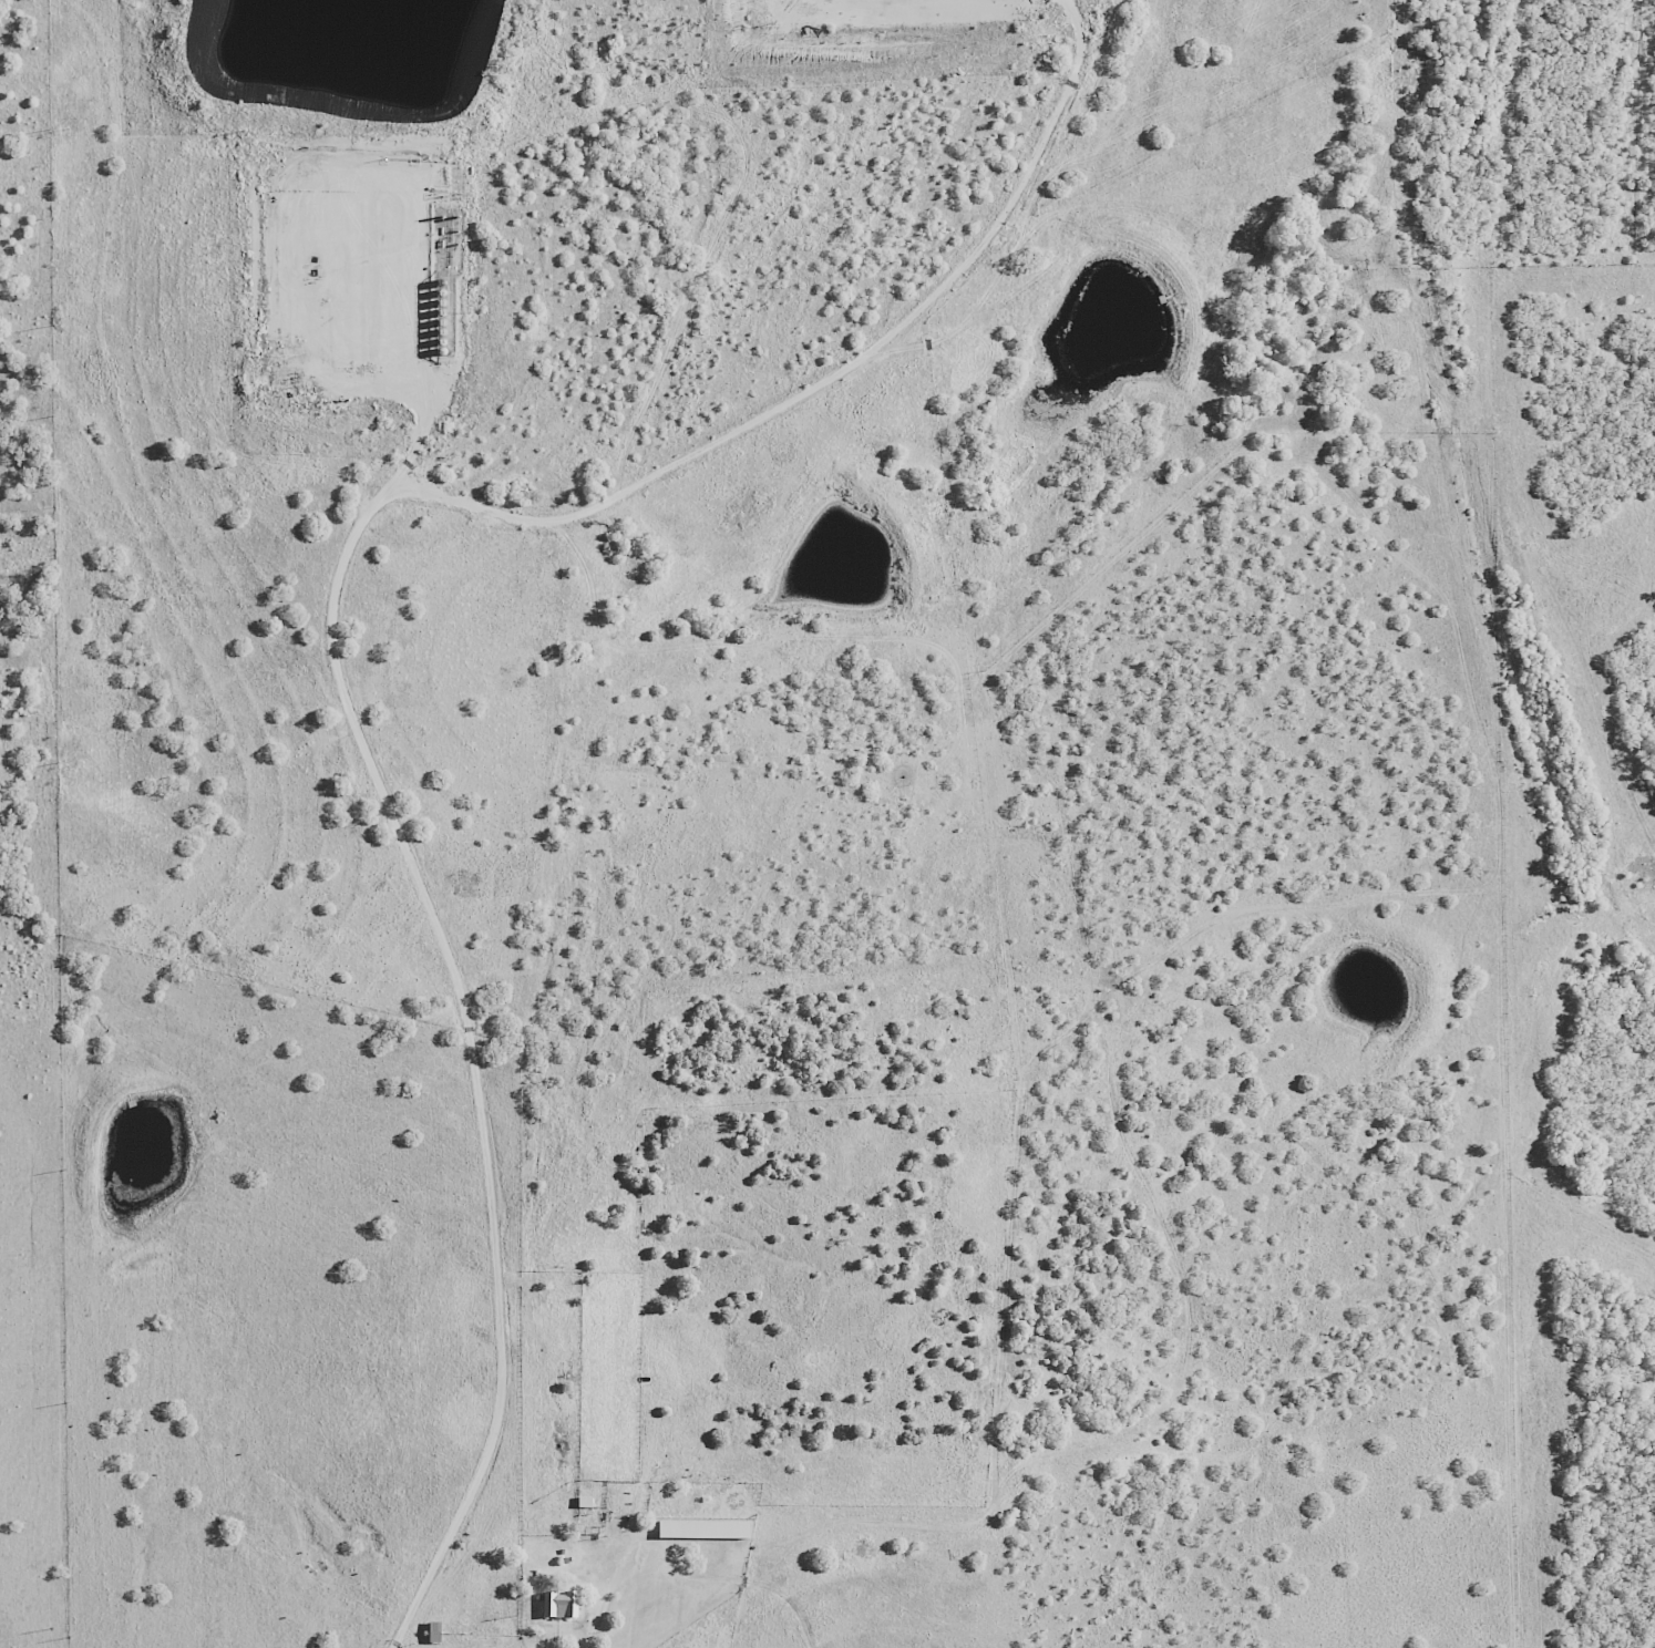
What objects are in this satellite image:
building: (703, 1529)
building: (559, 1605)

